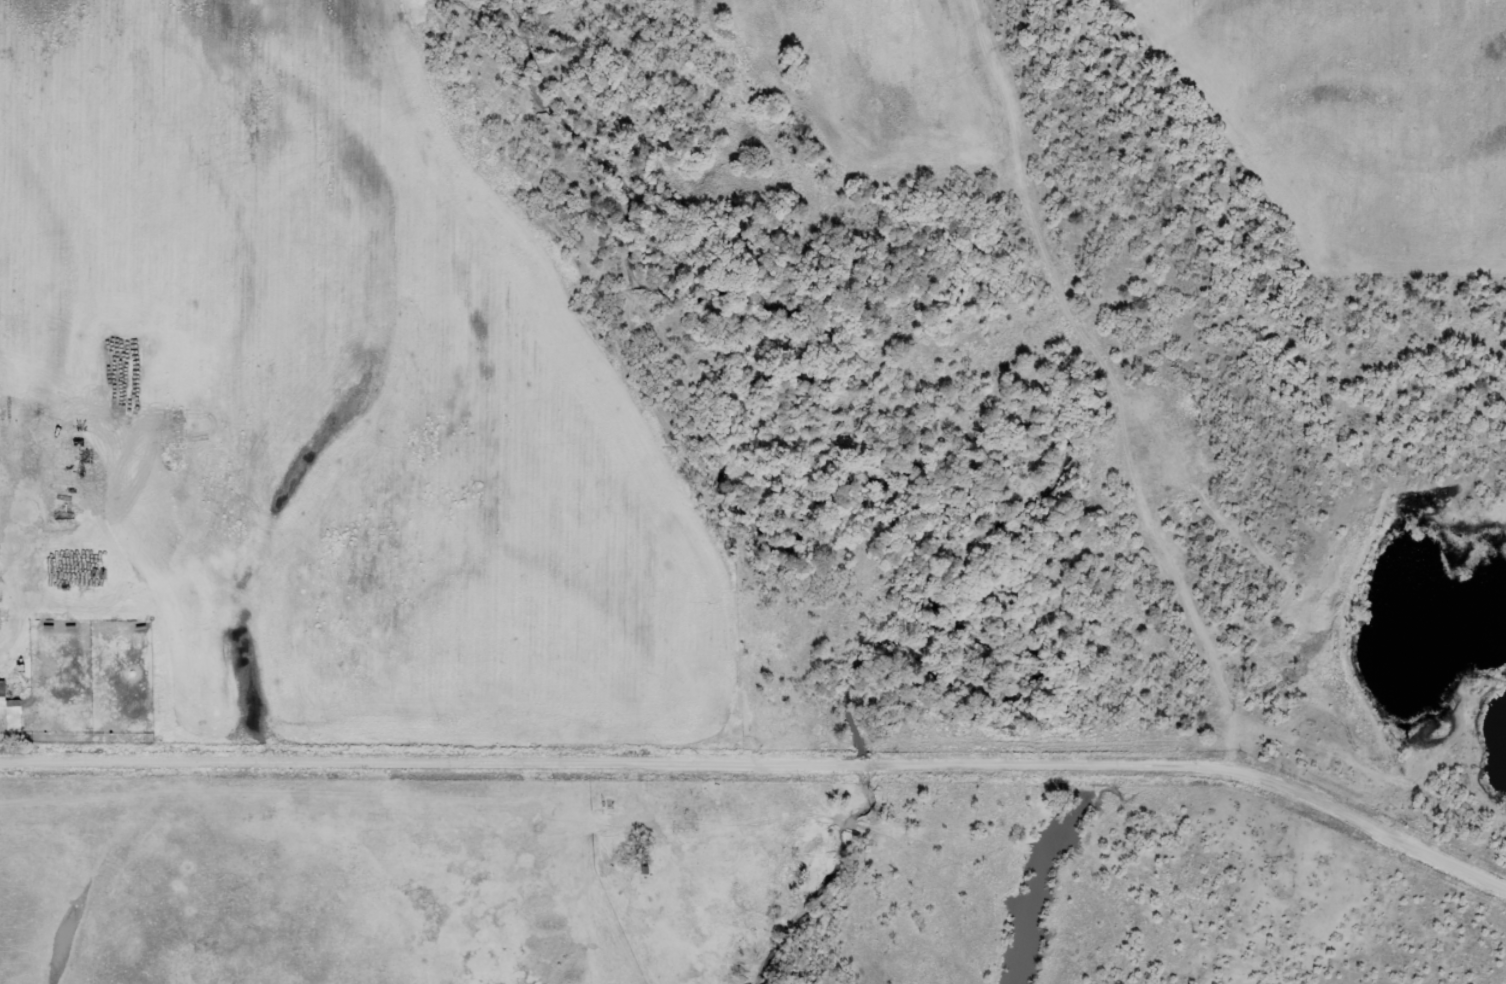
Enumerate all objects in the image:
building: (66, 559)
building: (5, 698)
road: (765, 765)

